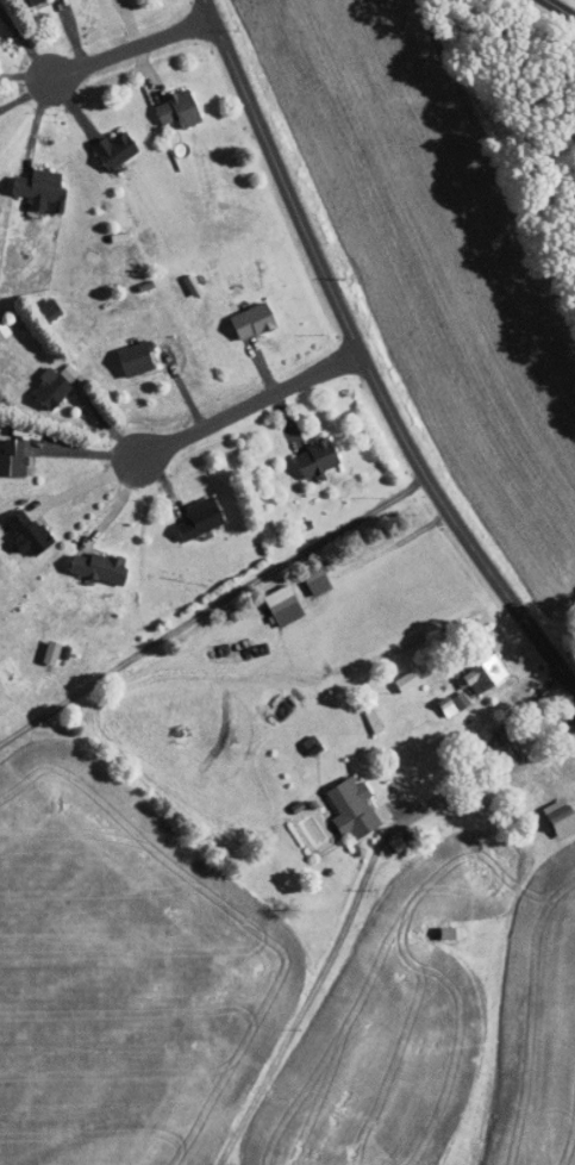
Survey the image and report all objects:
building: (20, 0)
building: (36, 1)
road: (561, 8)
road: (130, 21)
road: (71, 32)
road: (131, 46)
road: (148, 73)
road: (25, 75)
road: (48, 83)
road: (25, 93)
road: (75, 107)
building: (182, 108)
building: (117, 151)
building: (43, 188)
building: (4, 210)
building: (248, 319)
building: (2, 329)
road: (271, 345)
building: (130, 357)
road: (362, 359)
building: (45, 387)
road: (163, 392)
road: (237, 407)
road: (80, 419)
road: (296, 423)
building: (11, 456)
road: (65, 457)
building: (310, 457)
road: (190, 473)
road: (60, 503)
road: (113, 510)
building: (194, 518)
building: (24, 530)
building: (94, 566)
building: (314, 584)
building: (279, 604)
road: (212, 610)
building: (45, 649)
building: (477, 672)
road: (523, 683)
building: (457, 698)
building: (444, 705)
road: (465, 756)
road: (458, 783)
building: (348, 805)
building: (555, 816)
building: (445, 930)

